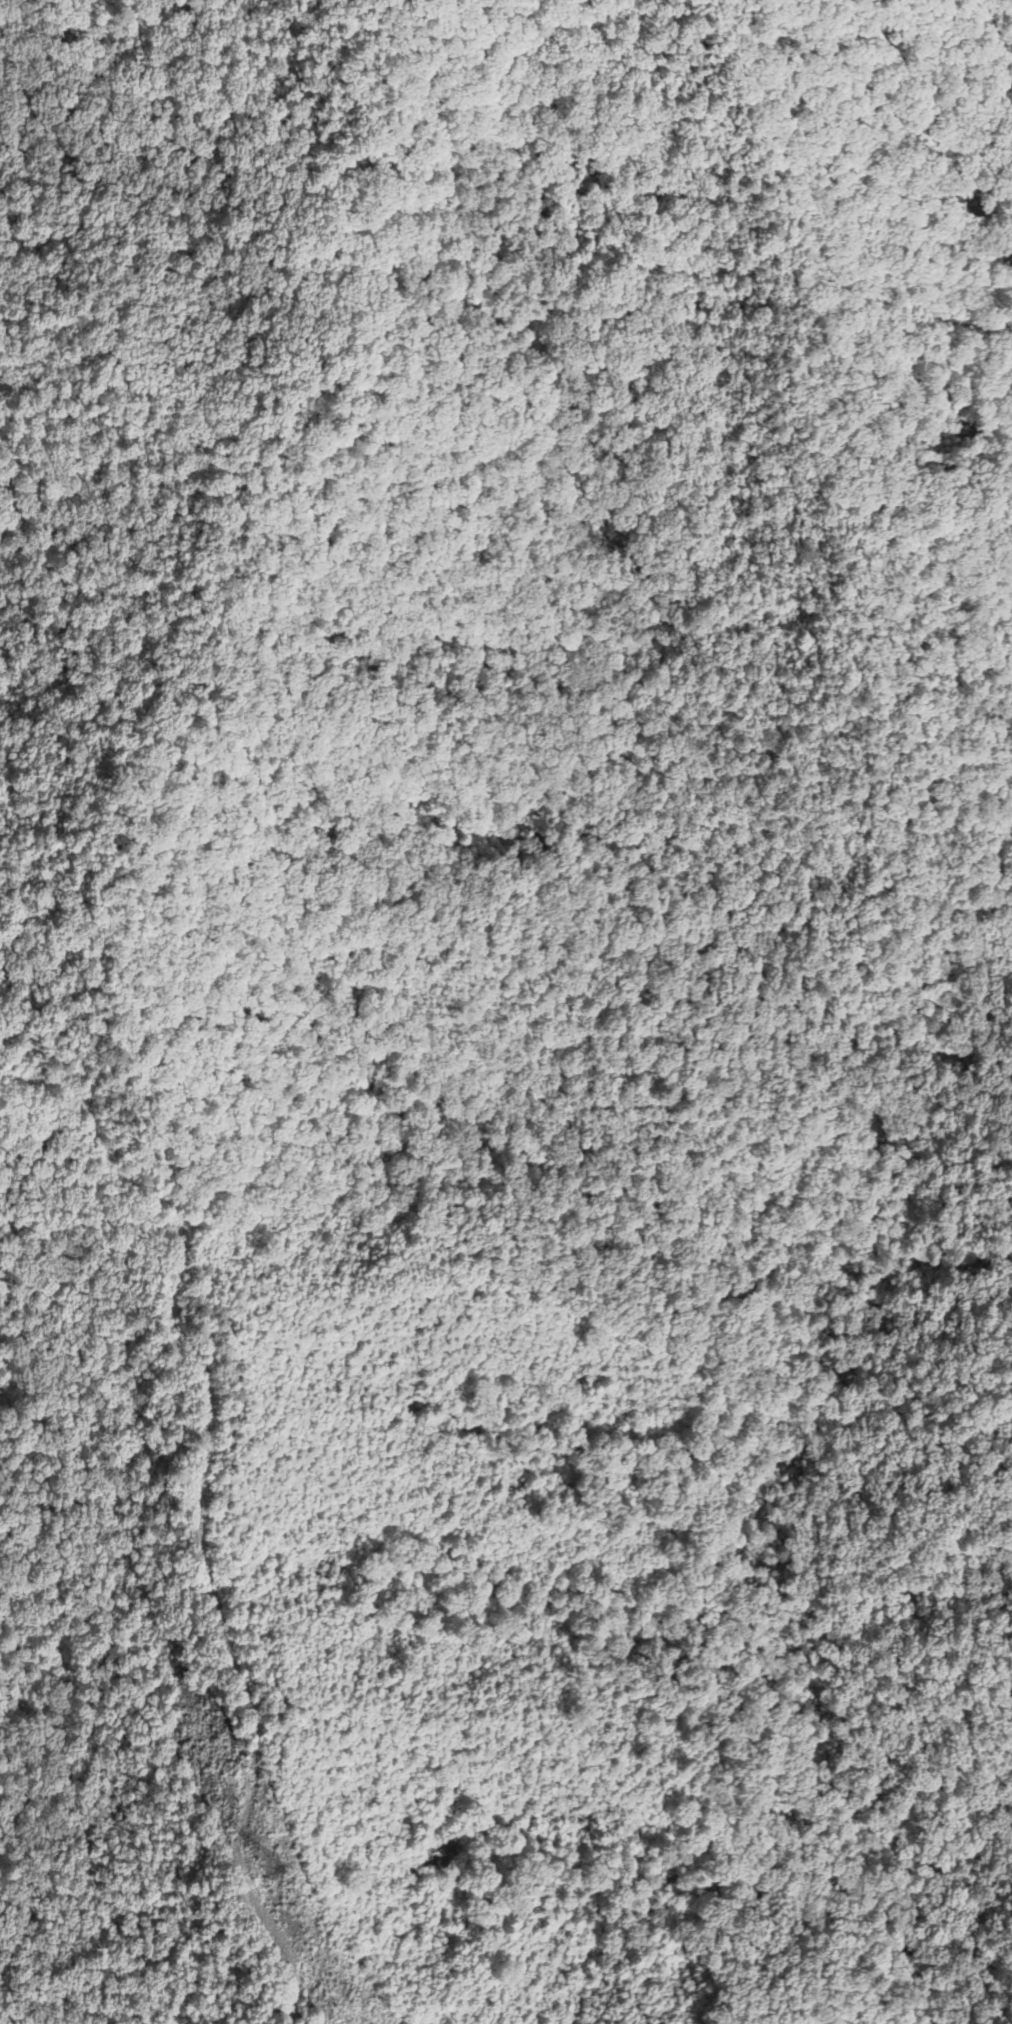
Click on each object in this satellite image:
power tower: (285, 1865)

